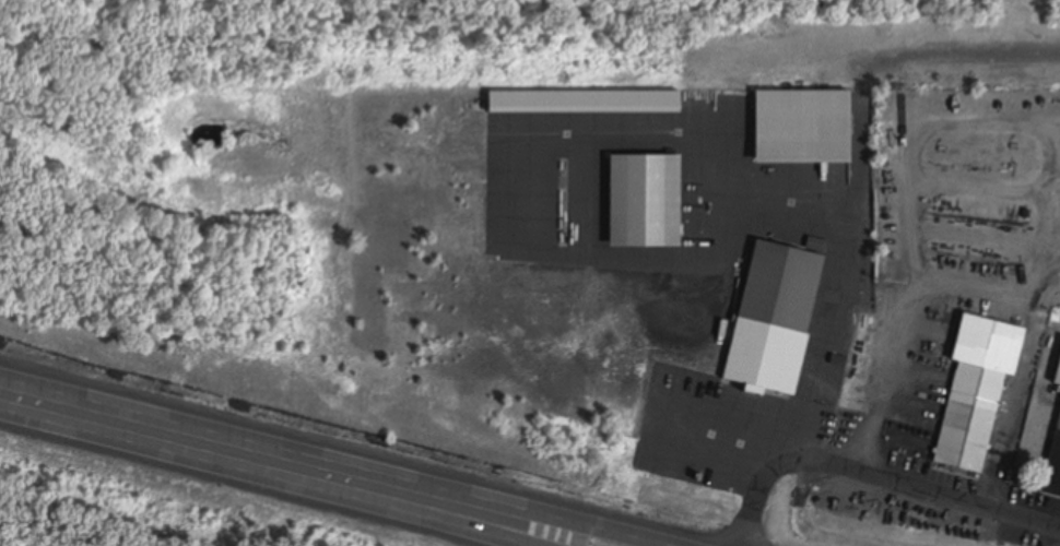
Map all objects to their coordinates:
building: (579, 103)
building: (798, 128)
building: (638, 202)
building: (768, 321)
building: (1056, 369)
building: (975, 391)
road: (658, 406)
road: (144, 427)
building: (1052, 463)
road: (879, 476)
road: (480, 500)
road: (411, 507)

